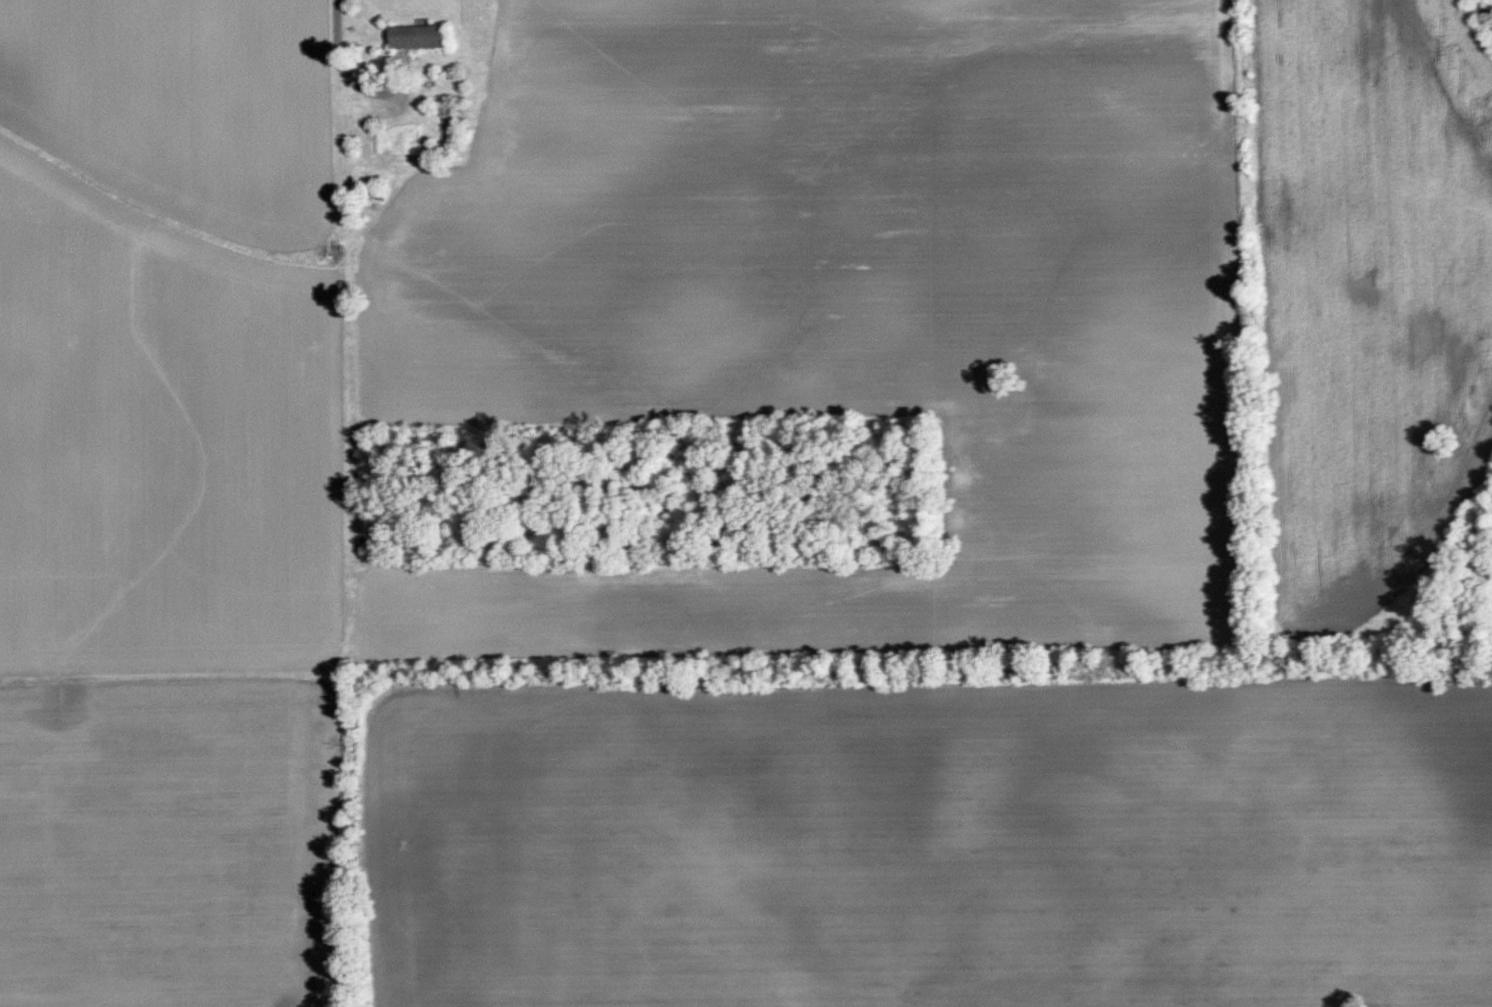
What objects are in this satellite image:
building: (425, 37)
road: (343, 67)

